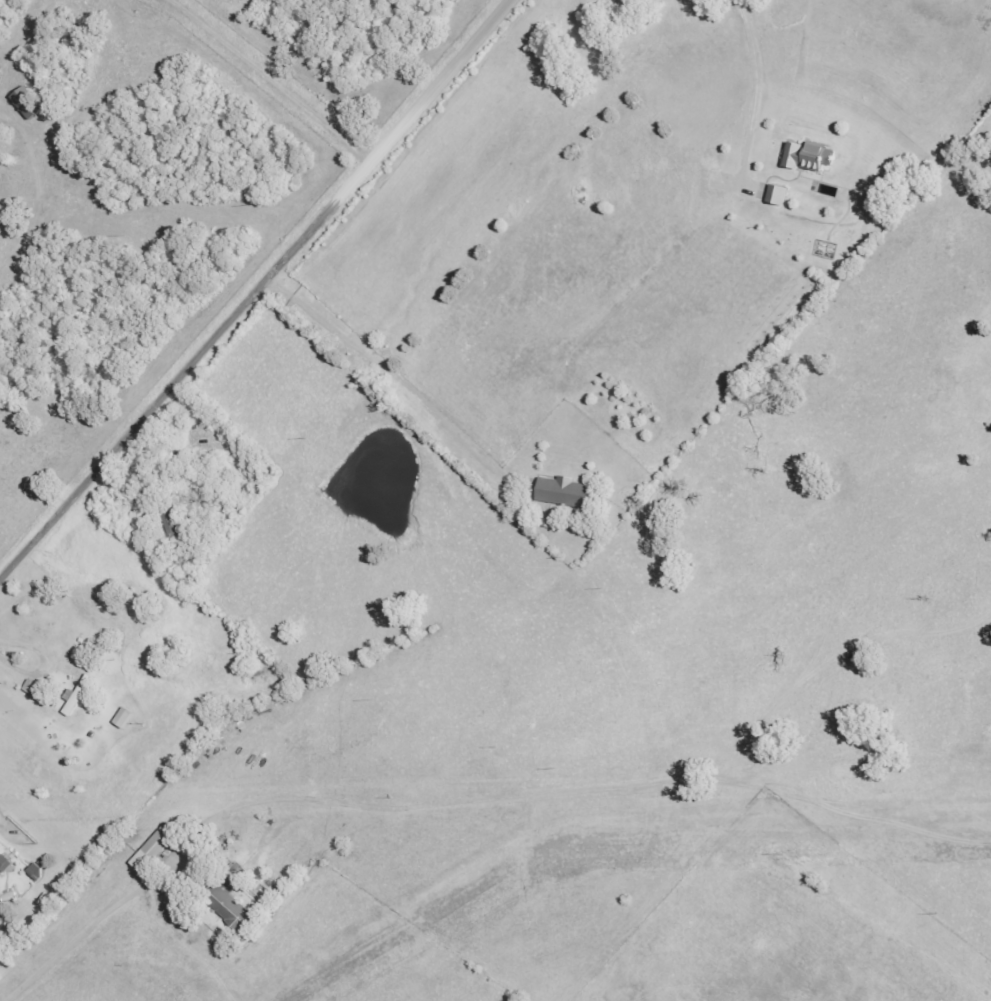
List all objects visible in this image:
park: (142, 0)
road: (242, 90)
building: (24, 103)
building: (805, 157)
building: (774, 196)
road: (260, 294)
building: (567, 493)
building: (79, 696)
building: (125, 718)
road: (2, 832)
building: (157, 848)
building: (5, 863)
building: (10, 897)
building: (233, 909)

